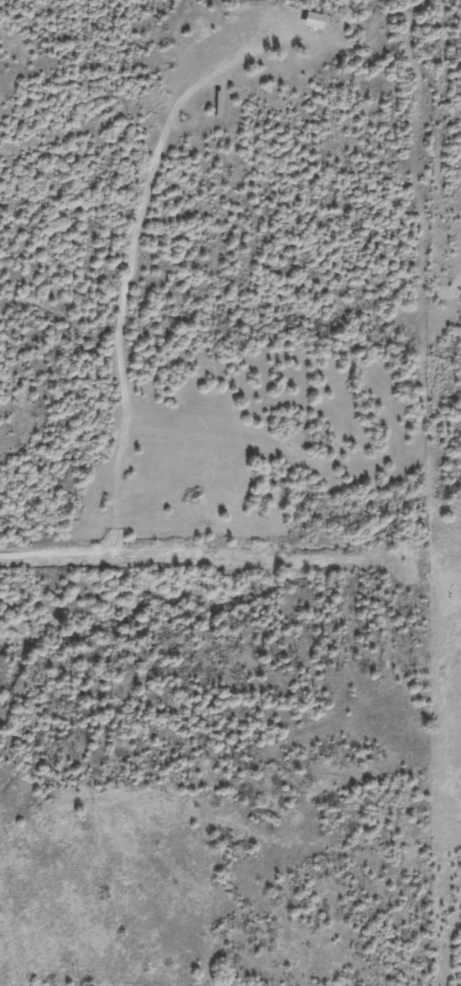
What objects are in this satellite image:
building: (316, 19)

